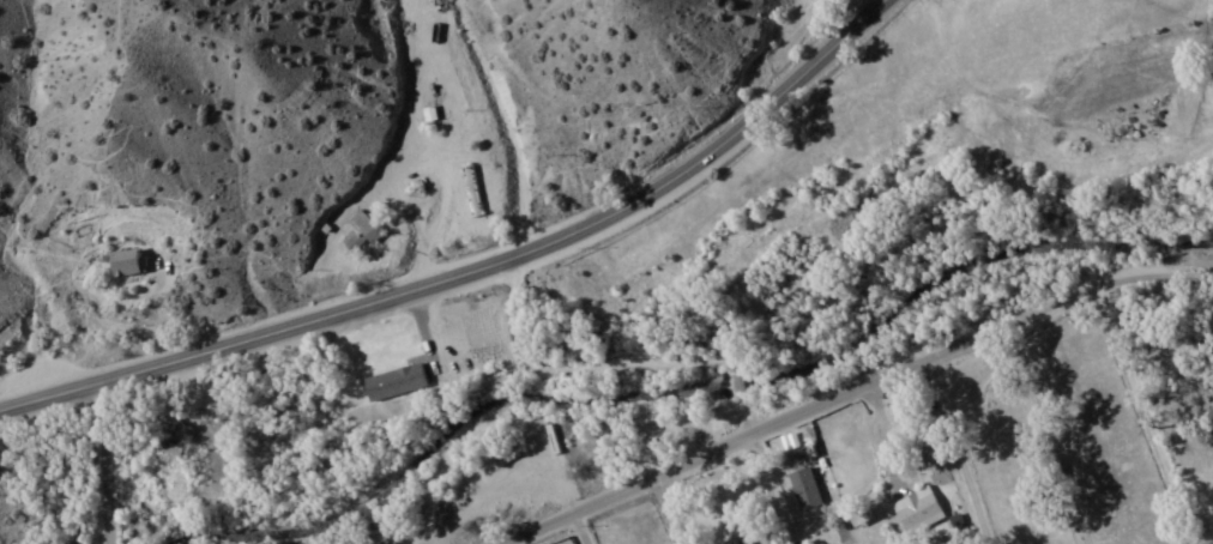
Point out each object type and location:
building: (362, 230)
building: (127, 260)
road: (477, 267)
road: (886, 363)
building: (396, 380)
river: (666, 380)
road: (1148, 415)
road: (958, 445)
road: (105, 460)
road: (774, 483)
building: (805, 486)
road: (682, 503)
road: (666, 507)
building: (918, 508)
road: (532, 526)
road: (580, 526)
road: (110, 543)

